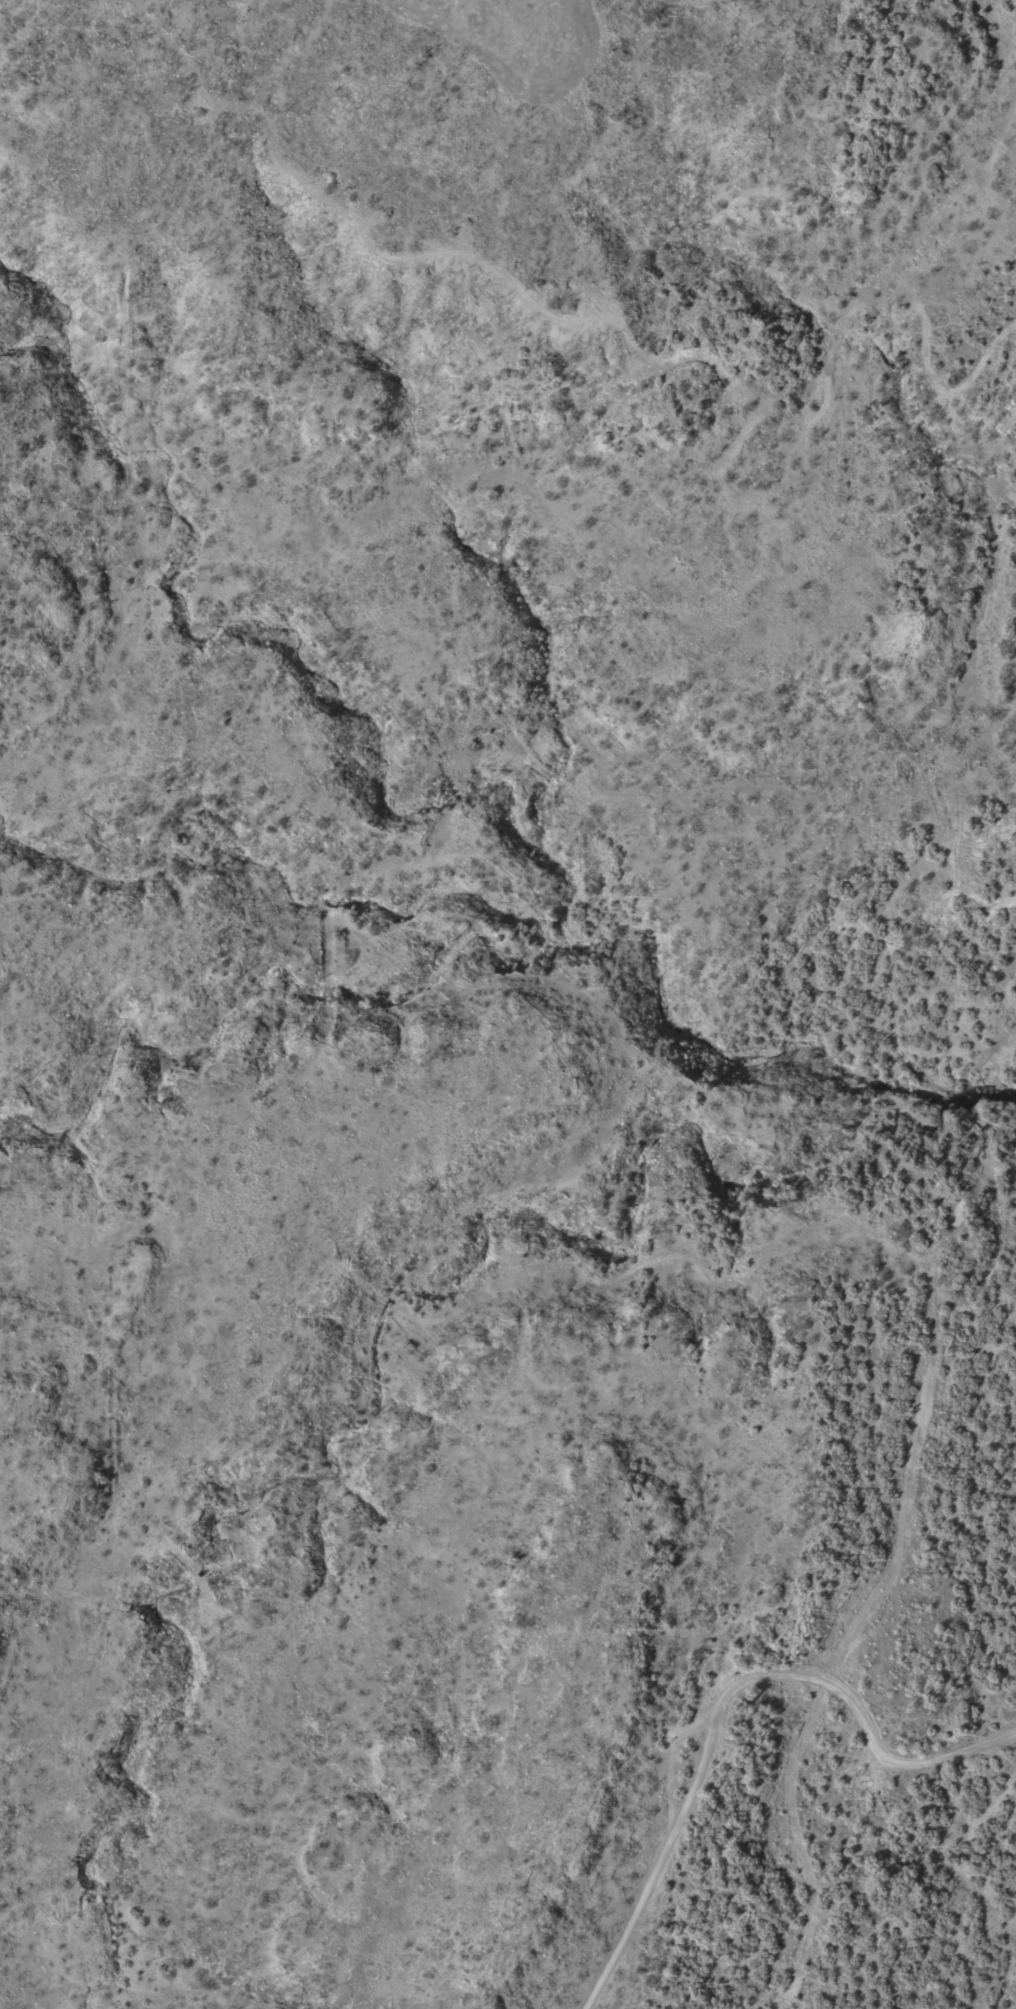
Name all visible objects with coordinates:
road: (696, 1697)

